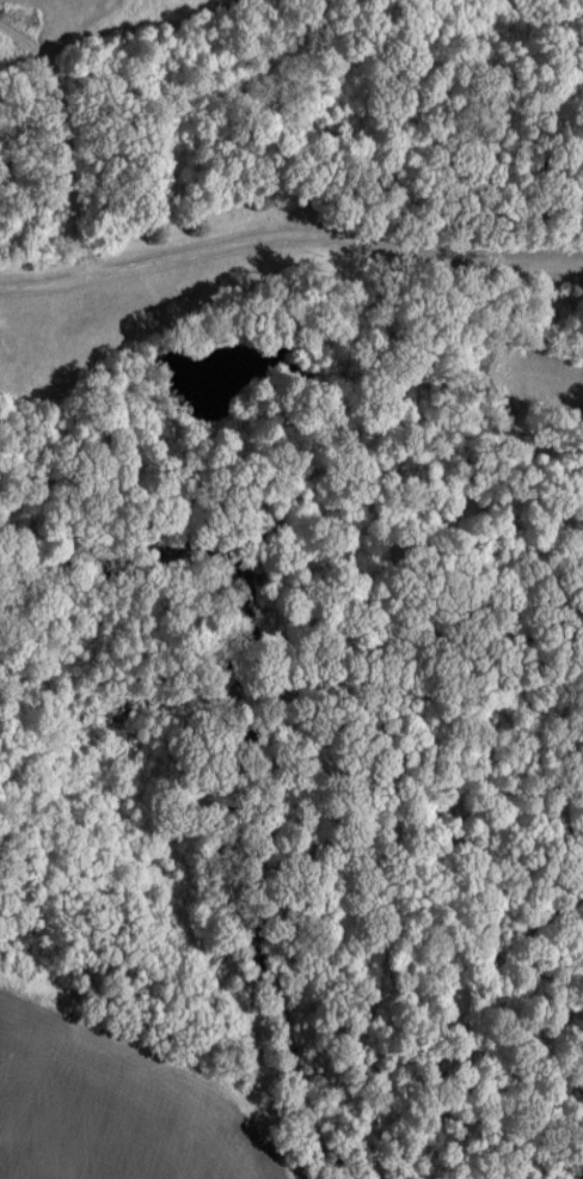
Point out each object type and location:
road: (73, 133)
road: (290, 232)

